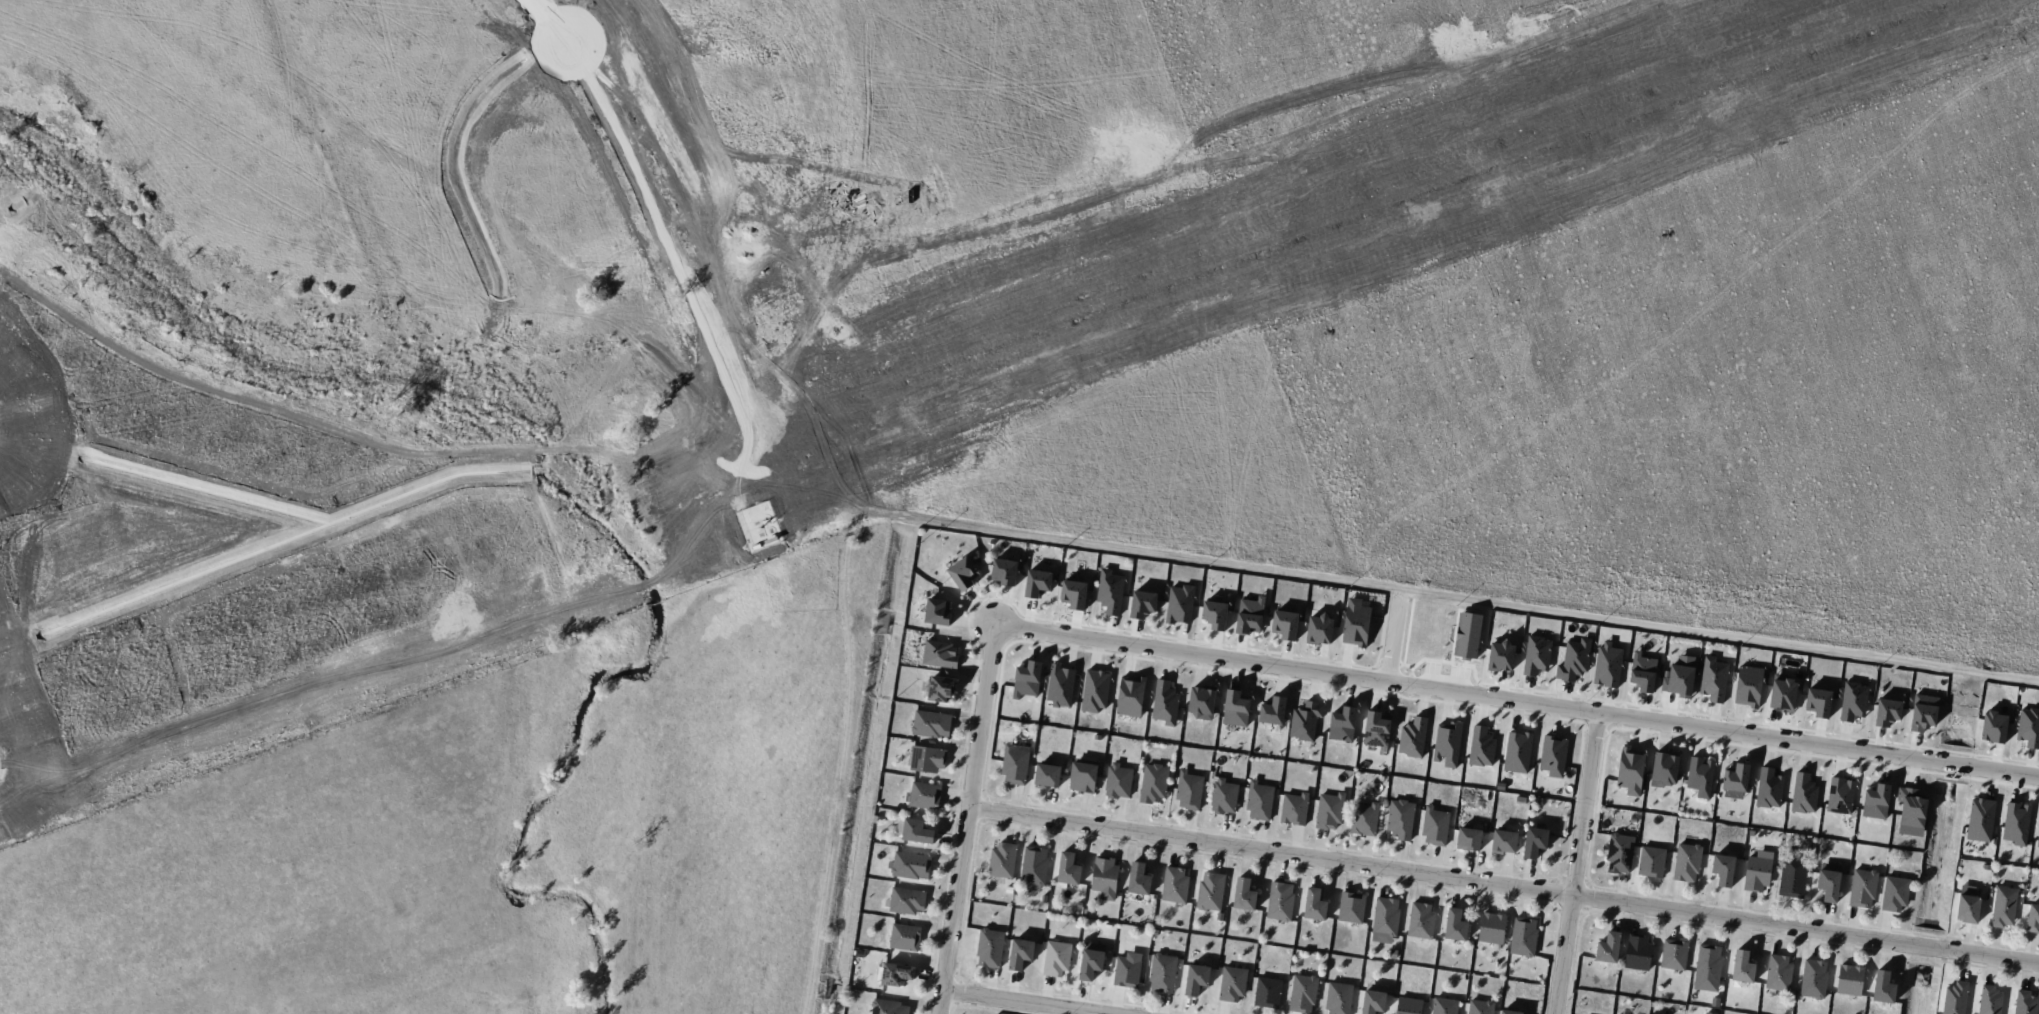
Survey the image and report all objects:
road: (548, 21)
building: (1004, 571)
building: (963, 573)
road: (1324, 581)
building: (1037, 582)
building: (1110, 591)
building: (1074, 593)
building: (1143, 604)
building: (1179, 604)
building: (937, 611)
building: (1215, 614)
building: (1250, 615)
building: (1356, 623)
building: (1285, 624)
building: (1319, 629)
road: (1391, 637)
building: (940, 654)
building: (1536, 654)
building: (1501, 655)
building: (1574, 659)
building: (1607, 664)
building: (1643, 671)
building: (1027, 679)
building: (1679, 679)
building: (1713, 679)
building: (1060, 685)
building: (1748, 686)
building: (941, 689)
building: (1094, 691)
building: (1783, 693)
building: (1130, 696)
building: (1201, 701)
building: (1853, 701)
building: (1165, 702)
building: (1818, 702)
road: (1517, 703)
building: (1235, 708)
building: (1273, 710)
building: (1887, 712)
building: (1923, 712)
building: (1306, 720)
building: (931, 724)
building: (1342, 724)
building: (1993, 727)
building: (2028, 727)
building: (1376, 728)
building: (1412, 737)
building: (1447, 743)
building: (1481, 747)
building: (1517, 751)
building: (1553, 755)
building: (924, 758)
road: (838, 760)
building: (1015, 765)
building: (1664, 769)
building: (1631, 770)
building: (1047, 775)
building: (1700, 776)
building: (1083, 777)
building: (1118, 780)
building: (1735, 781)
building: (1154, 782)
building: (1769, 788)
building: (1189, 790)
building: (1803, 793)
building: (923, 795)
building: (1840, 795)
building: (1224, 796)
building: (1259, 800)
building: (1876, 802)
building: (1911, 807)
building: (1294, 808)
building: (1329, 811)
building: (1364, 818)
building: (1400, 818)
building: (1980, 820)
road: (968, 821)
building: (2016, 823)
building: (1435, 826)
building: (914, 830)
building: (1469, 839)
building: (2038, 840)
building: (1504, 841)
building: (1535, 841)
building: (1620, 852)
building: (1002, 859)
building: (1651, 861)
building: (1686, 862)
road: (1579, 864)
building: (911, 865)
building: (1034, 867)
building: (1068, 868)
building: (1723, 869)
building: (1757, 873)
building: (1104, 877)
building: (1792, 877)
building: (1138, 879)
building: (1829, 881)
building: (1174, 884)
road: (1504, 886)
building: (1862, 888)
building: (1210, 890)
building: (1894, 893)
building: (1244, 894)
building: (906, 900)
building: (1280, 901)
building: (1315, 904)
building: (1967, 904)
building: (2003, 906)
building: (1351, 907)
building: (2033, 918)
building: (1385, 919)
building: (1421, 920)
building: (1455, 925)
building: (1492, 927)
building: (1523, 936)
building: (905, 937)
building: (1608, 947)
building: (989, 948)
building: (1637, 951)
building: (1020, 953)
building: (1674, 954)
building: (1056, 958)
building: (1091, 960)
building: (1708, 963)
building: (1742, 966)
building: (1127, 970)
building: (1778, 972)
building: (896, 973)
building: (1162, 973)
building: (1196, 978)
building: (1813, 978)
building: (1849, 979)
building: (1233, 983)
building: (1883, 987)
building: (1267, 992)
building: (1303, 993)
building: (1339, 998)
building: (1374, 998)
building: (1955, 998)
building: (1989, 1000)
road: (1016, 1003)
building: (2025, 1003)
building: (1408, 1005)
building: (1444, 1006)
building: (889, 1007)
building: (1479, 1007)
building: (1510, 1012)

